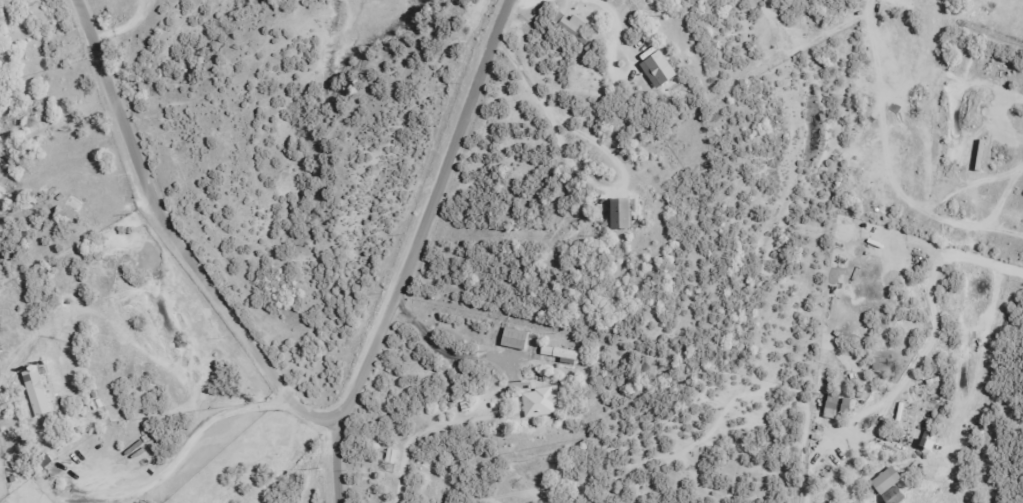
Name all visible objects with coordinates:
building: (655, 69)
road: (434, 211)
building: (617, 212)
road: (178, 233)
building: (512, 337)
building: (35, 392)
building: (538, 401)
building: (835, 403)
building: (924, 437)
road: (178, 455)
road: (342, 459)
building: (883, 479)

